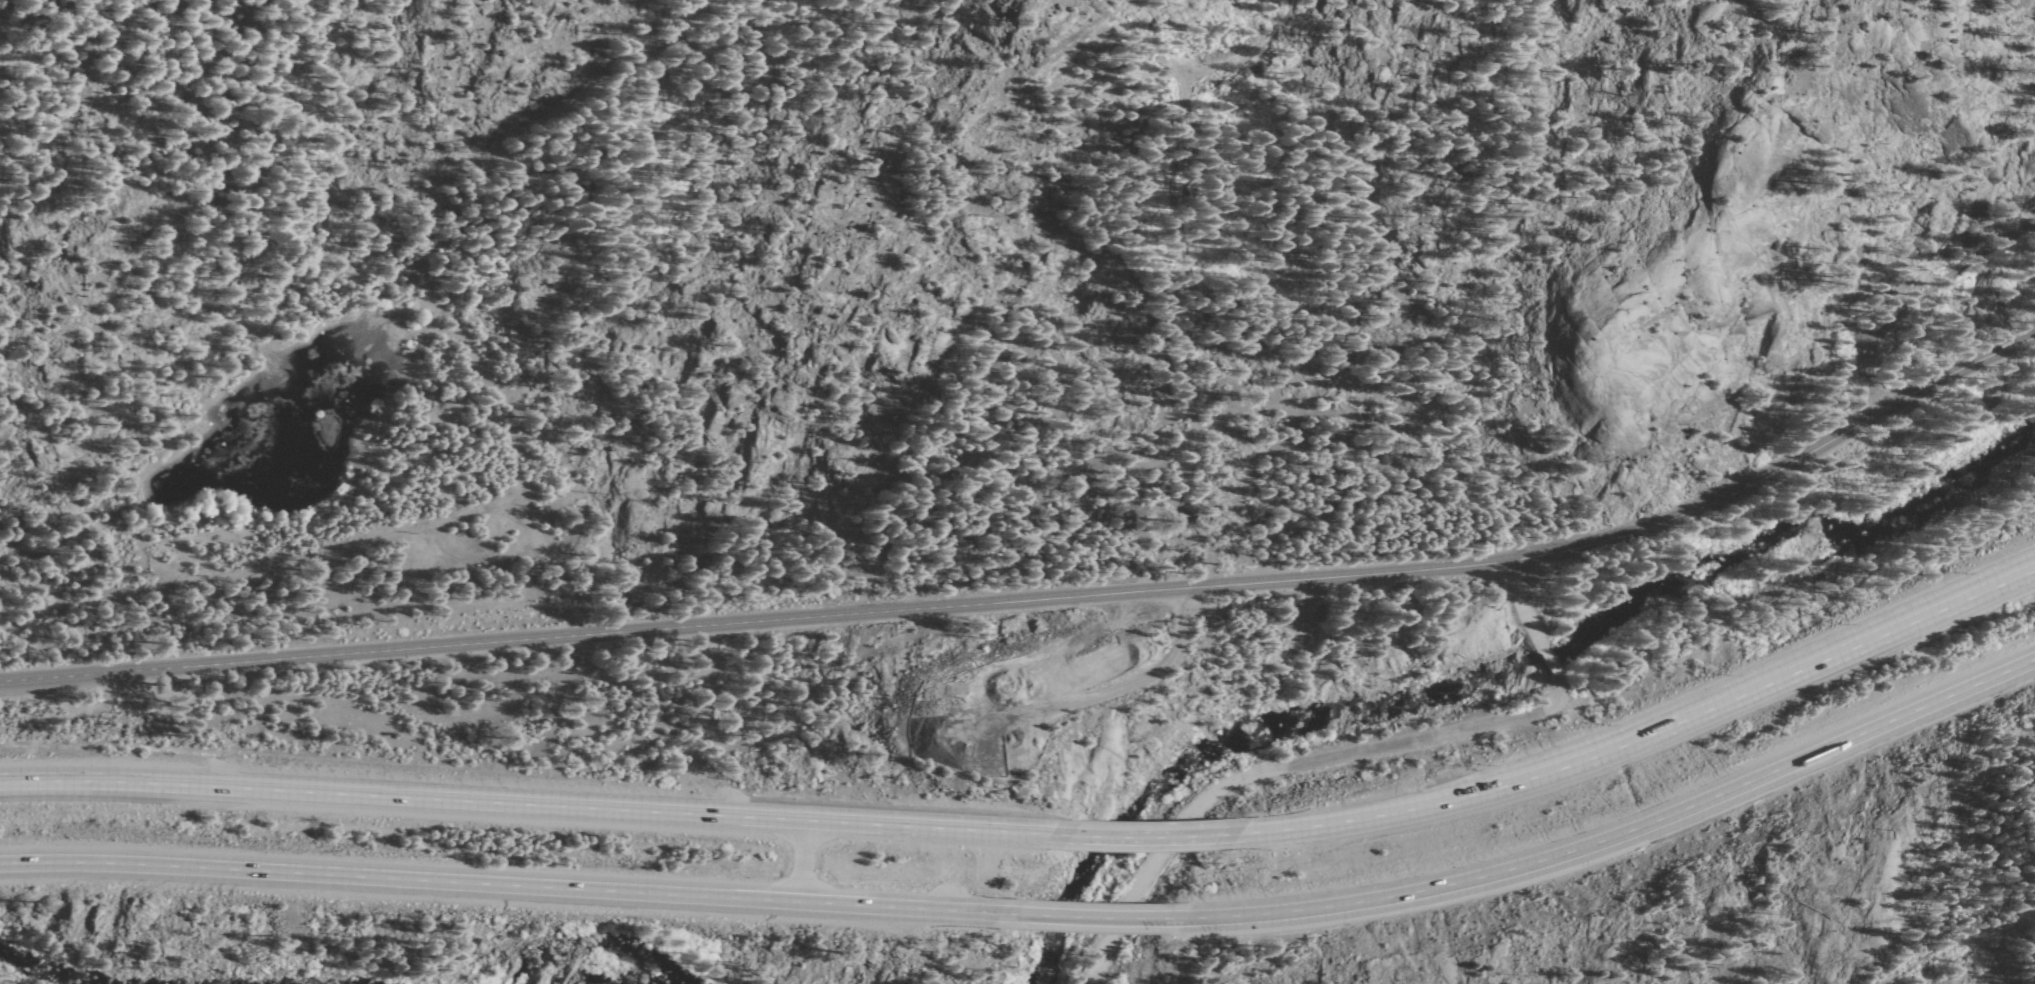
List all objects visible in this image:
road: (1916, 296)
river: (1872, 537)
road: (1041, 598)
river: (1668, 603)
road: (1522, 606)
river: (1597, 621)
road: (1547, 662)
river: (1465, 682)
road: (1099, 693)
road: (1650, 724)
road: (1287, 767)
river: (1162, 780)
road: (516, 813)
road: (1610, 832)
road: (1142, 840)
road: (503, 886)
road: (1089, 916)
river: (23, 966)
river: (615, 968)
river: (63, 980)

